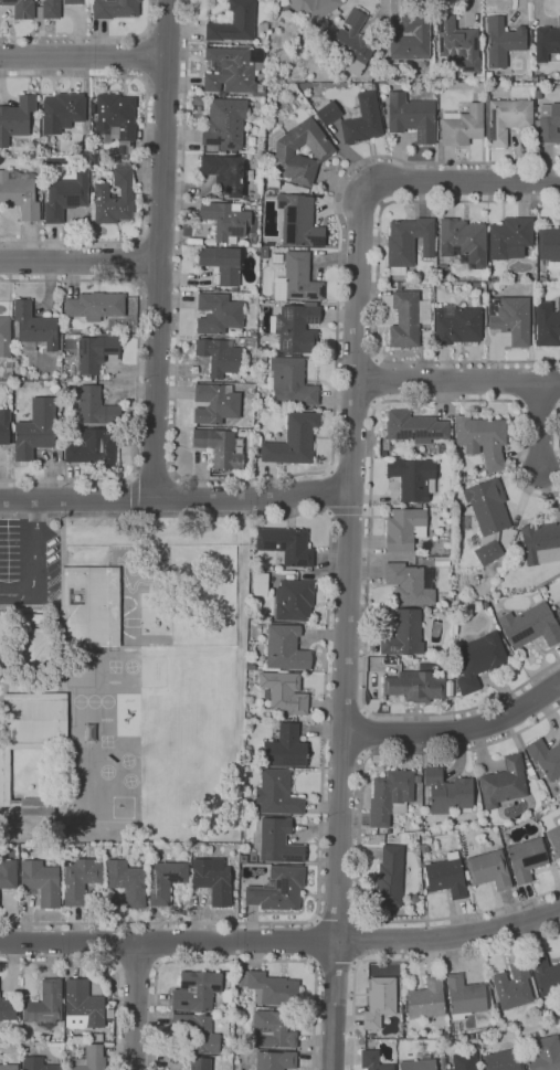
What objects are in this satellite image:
building: (74, 2)
building: (113, 8)
building: (309, 9)
building: (19, 10)
building: (51, 10)
building: (234, 23)
road: (91, 36)
building: (410, 40)
building: (503, 42)
building: (547, 42)
building: (351, 44)
building: (458, 44)
road: (83, 57)
road: (144, 57)
building: (234, 71)
building: (488, 75)
building: (542, 78)
building: (508, 80)
building: (538, 85)
building: (538, 94)
building: (381, 108)
building: (62, 112)
building: (328, 113)
building: (412, 117)
building: (15, 119)
building: (505, 119)
building: (114, 120)
building: (363, 120)
building: (224, 124)
building: (548, 124)
building: (462, 126)
building: (86, 140)
building: (321, 152)
road: (145, 153)
building: (125, 156)
building: (94, 160)
building: (225, 172)
road: (466, 184)
building: (250, 186)
building: (19, 193)
building: (115, 194)
building: (65, 197)
building: (225, 221)
building: (299, 221)
building: (510, 237)
building: (254, 241)
building: (464, 242)
building: (408, 243)
building: (270, 244)
building: (549, 244)
road: (161, 250)
road: (136, 259)
road: (81, 261)
building: (222, 263)
building: (442, 273)
building: (299, 278)
building: (487, 283)
road: (377, 284)
building: (475, 285)
building: (95, 306)
building: (219, 314)
building: (510, 318)
building: (405, 319)
building: (457, 325)
building: (547, 325)
building: (33, 328)
building: (297, 328)
building: (231, 333)
building: (4, 337)
building: (532, 338)
building: (265, 343)
building: (93, 354)
building: (220, 357)
building: (262, 359)
building: (9, 360)
building: (8, 374)
road: (137, 377)
road: (380, 381)
building: (290, 382)
road: (456, 382)
building: (53, 389)
building: (215, 404)
building: (96, 406)
building: (4, 426)
building: (415, 427)
road: (542, 427)
road: (559, 428)
building: (35, 430)
building: (483, 438)
building: (293, 441)
building: (219, 448)
building: (94, 449)
building: (413, 478)
road: (274, 479)
road: (135, 495)
road: (175, 499)
building: (405, 506)
building: (487, 507)
road: (347, 511)
road: (369, 525)
building: (404, 529)
building: (541, 543)
building: (287, 545)
building: (488, 550)
building: (445, 551)
parking lot: (30, 560)
building: (442, 561)
road: (33, 562)
building: (260, 583)
building: (410, 584)
building: (294, 601)
building: (89, 607)
building: (558, 613)
road: (345, 625)
building: (530, 626)
building: (404, 634)
building: (35, 642)
building: (286, 648)
building: (478, 659)
building: (1, 670)
building: (450, 675)
building: (415, 687)
building: (283, 692)
road: (325, 710)
building: (30, 730)
road: (456, 732)
road: (366, 733)
building: (285, 748)
building: (546, 759)
building: (526, 761)
building: (532, 765)
building: (536, 773)
building: (504, 783)
building: (447, 792)
building: (275, 795)
building: (391, 796)
building: (35, 805)
building: (538, 814)
road: (359, 836)
building: (554, 840)
building: (278, 841)
building: (423, 848)
building: (96, 851)
building: (527, 858)
building: (489, 869)
building: (8, 875)
building: (446, 877)
building: (389, 878)
building: (165, 879)
building: (213, 879)
building: (80, 880)
building: (42, 881)
building: (127, 881)
building: (278, 890)
building: (235, 893)
road: (337, 918)
road: (313, 941)
road: (360, 941)
road: (282, 942)
road: (406, 957)
road: (236, 961)
road: (109, 964)
road: (335, 964)
road: (137, 967)
building: (546, 976)
building: (513, 986)
building: (268, 987)
building: (199, 990)
building: (464, 996)
building: (494, 998)
building: (426, 999)
building: (489, 999)
building: (379, 1002)
building: (45, 1003)
building: (83, 1006)
building: (495, 1006)
road: (134, 1007)
building: (8, 1009)
building: (274, 1029)
building: (455, 1029)
building: (197, 1032)
building: (468, 1037)
building: (98, 1038)
building: (546, 1053)
building: (88, 1059)
building: (275, 1060)
building: (503, 1060)
building: (372, 1061)
building: (465, 1061)
building: (442, 1062)
building: (38, 1063)
building: (200, 1063)
building: (419, 1064)
building: (9, 1067)

